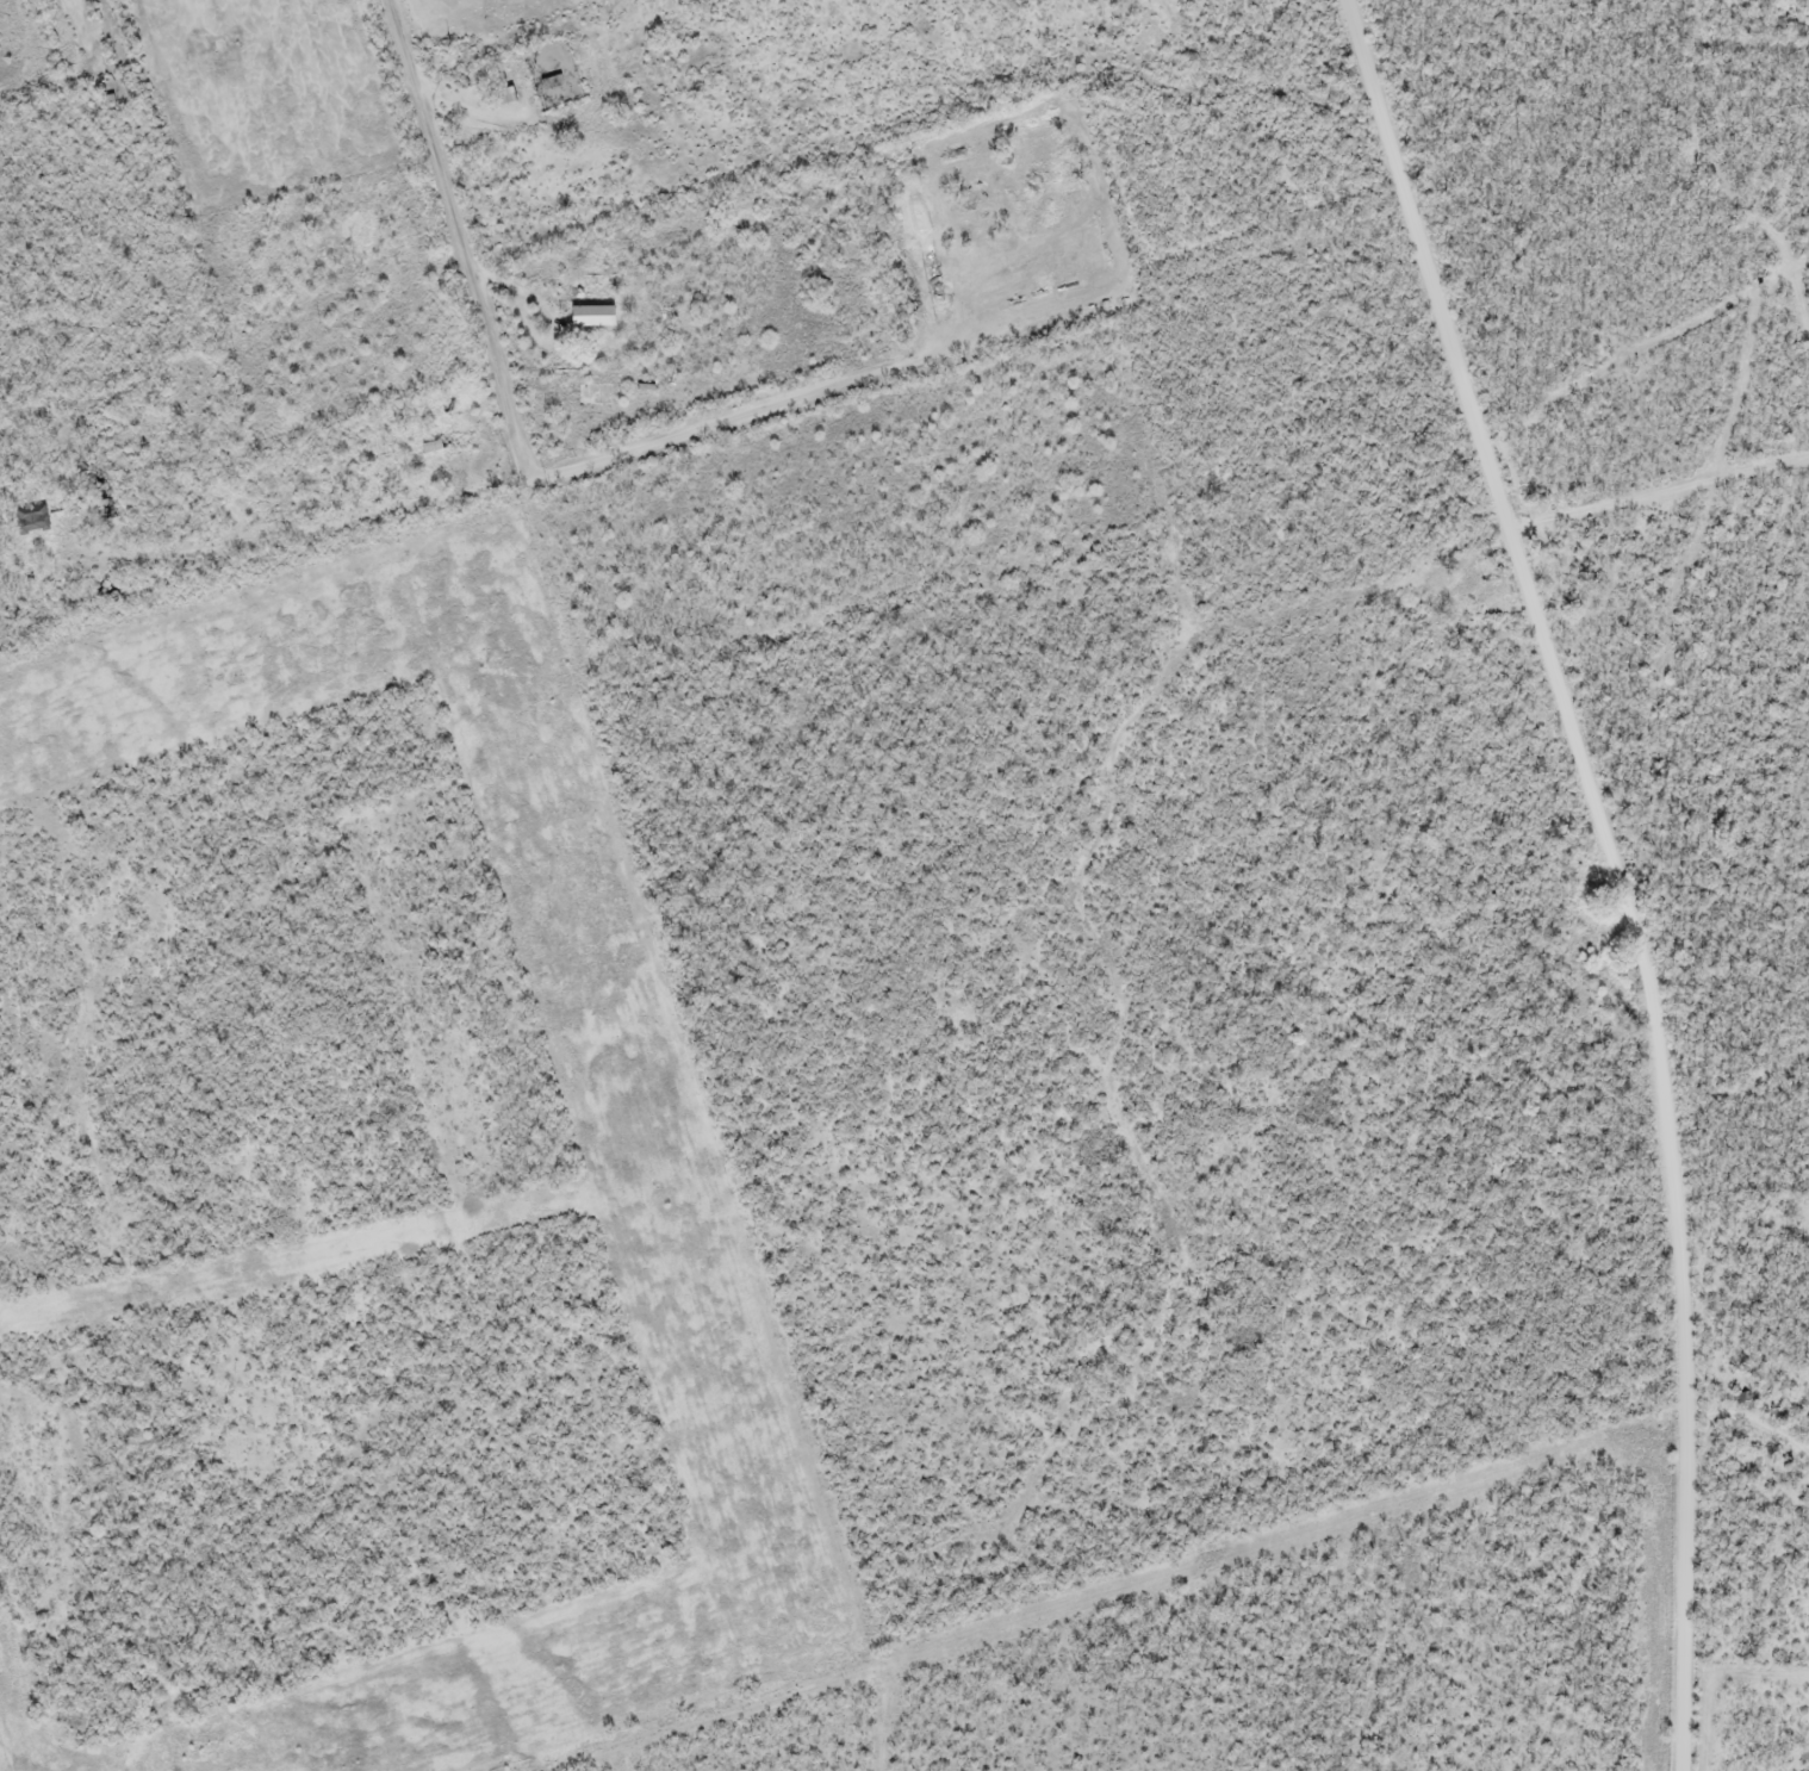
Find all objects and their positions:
building: (505, 98)
road: (455, 237)
building: (590, 319)
building: (31, 521)
road: (1615, 868)

